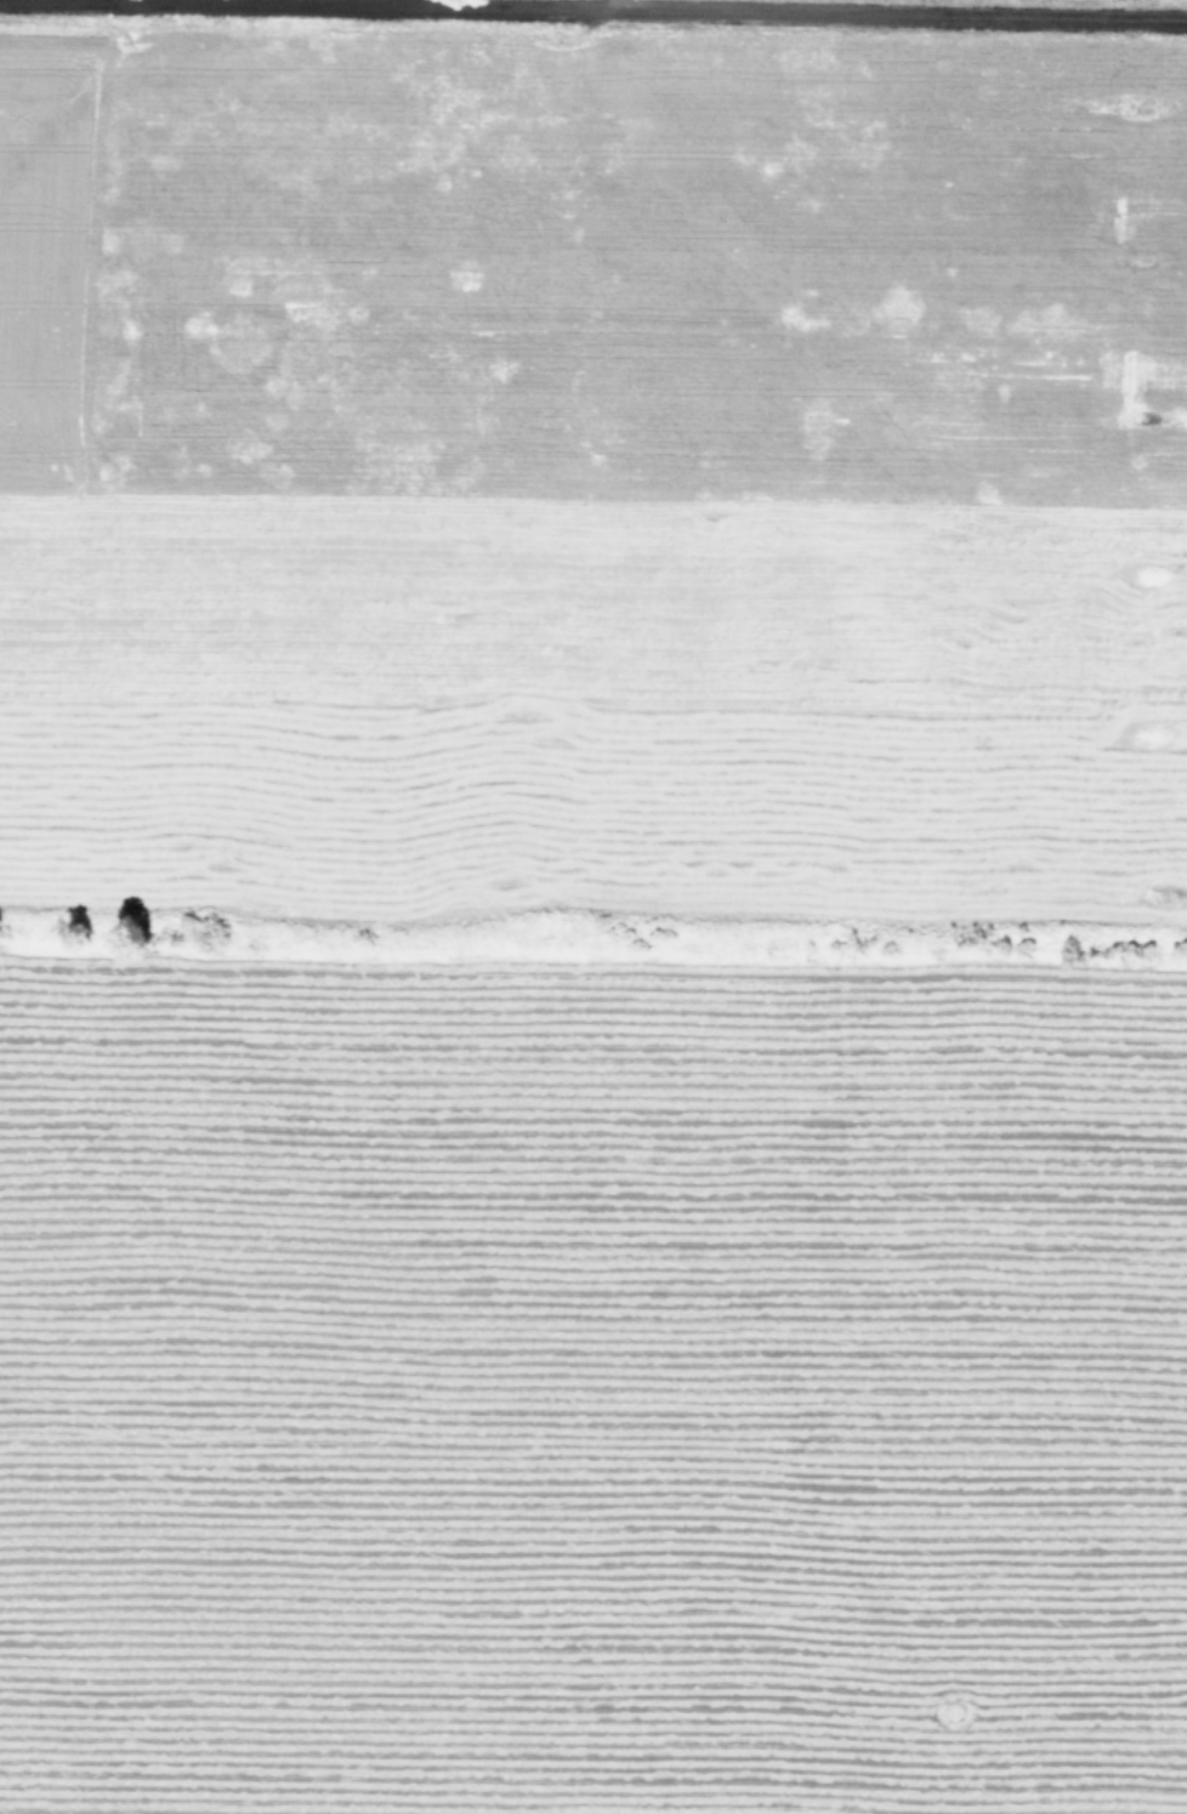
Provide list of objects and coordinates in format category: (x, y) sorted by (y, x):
road: (902, 5)
crop: (593, 906)

